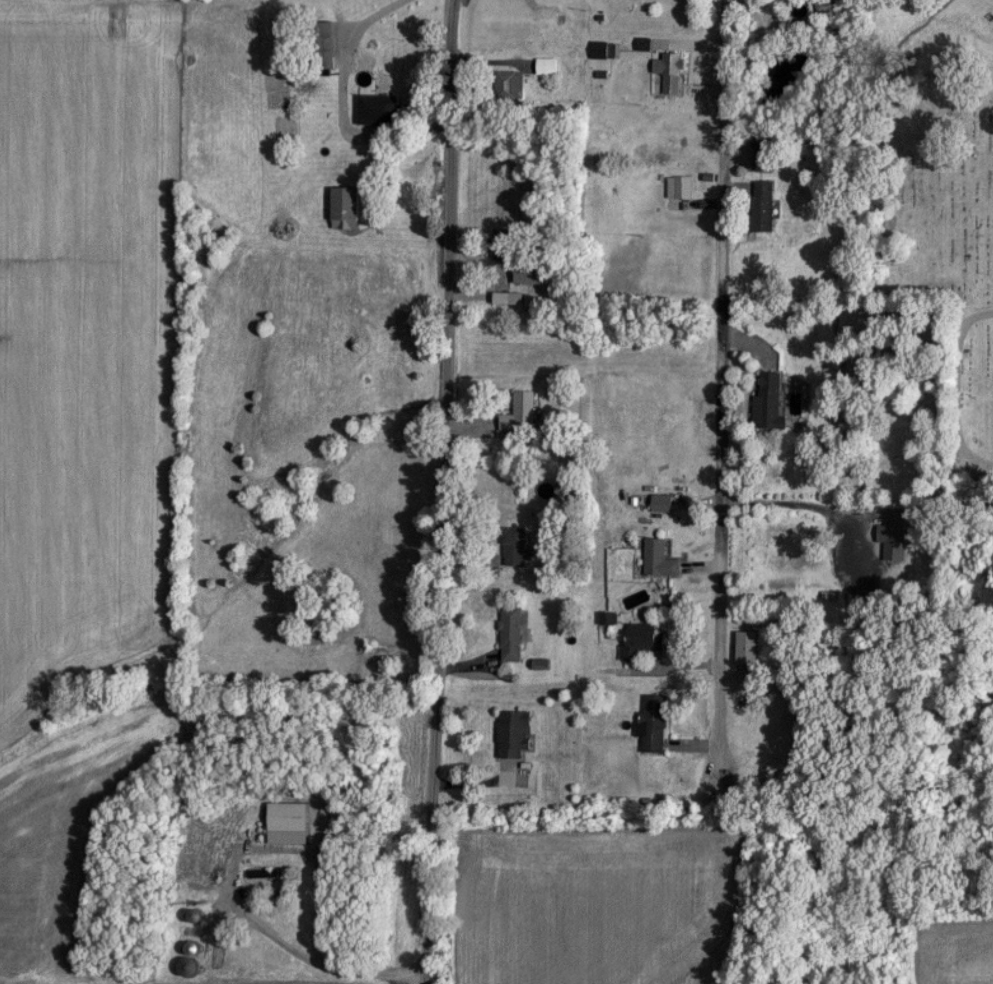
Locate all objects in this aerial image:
building: (829, 8)
building: (323, 46)
building: (603, 51)
building: (547, 67)
building: (666, 74)
building: (777, 80)
building: (509, 82)
road: (339, 104)
building: (386, 109)
building: (288, 129)
building: (765, 158)
building: (683, 189)
building: (764, 207)
building: (346, 208)
building: (531, 274)
road: (718, 393)
building: (770, 404)
building: (517, 412)
road: (439, 492)
building: (893, 528)
building: (516, 547)
building: (659, 561)
building: (511, 635)
building: (646, 641)
building: (749, 650)
building: (653, 724)
building: (514, 735)
building: (288, 825)
road: (291, 954)
building: (189, 968)

